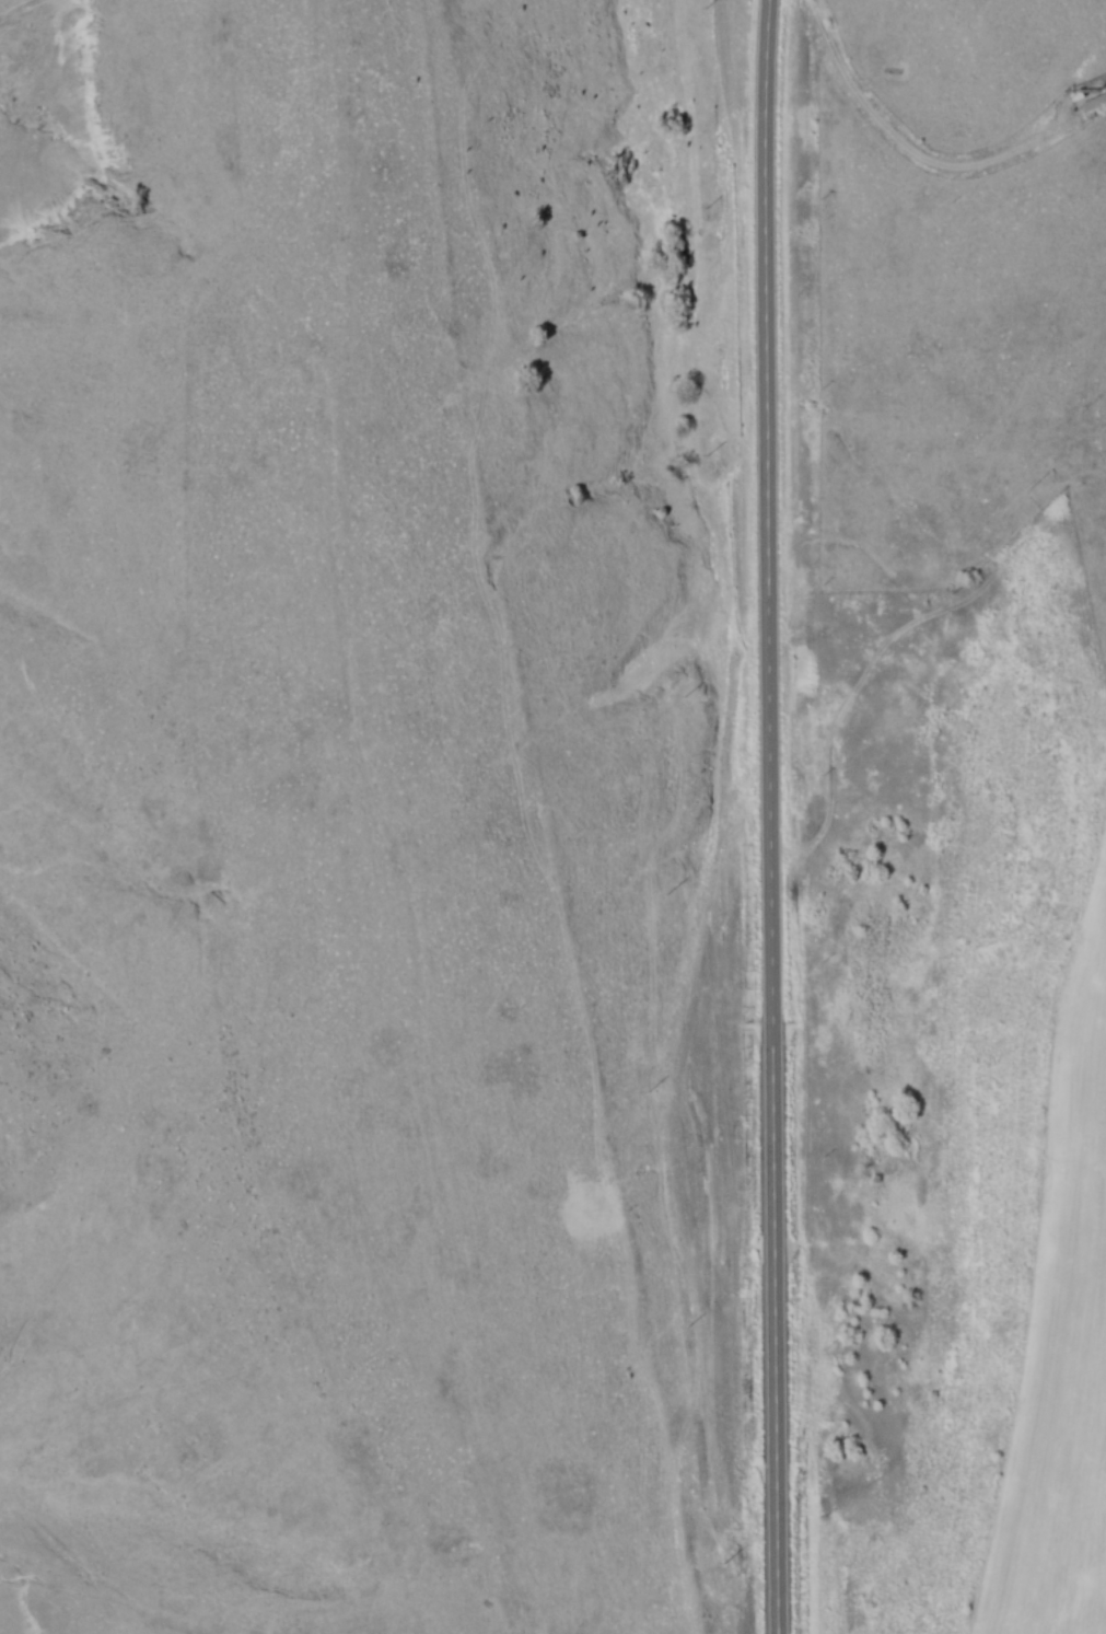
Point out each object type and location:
building: (1093, 104)
road: (770, 816)

